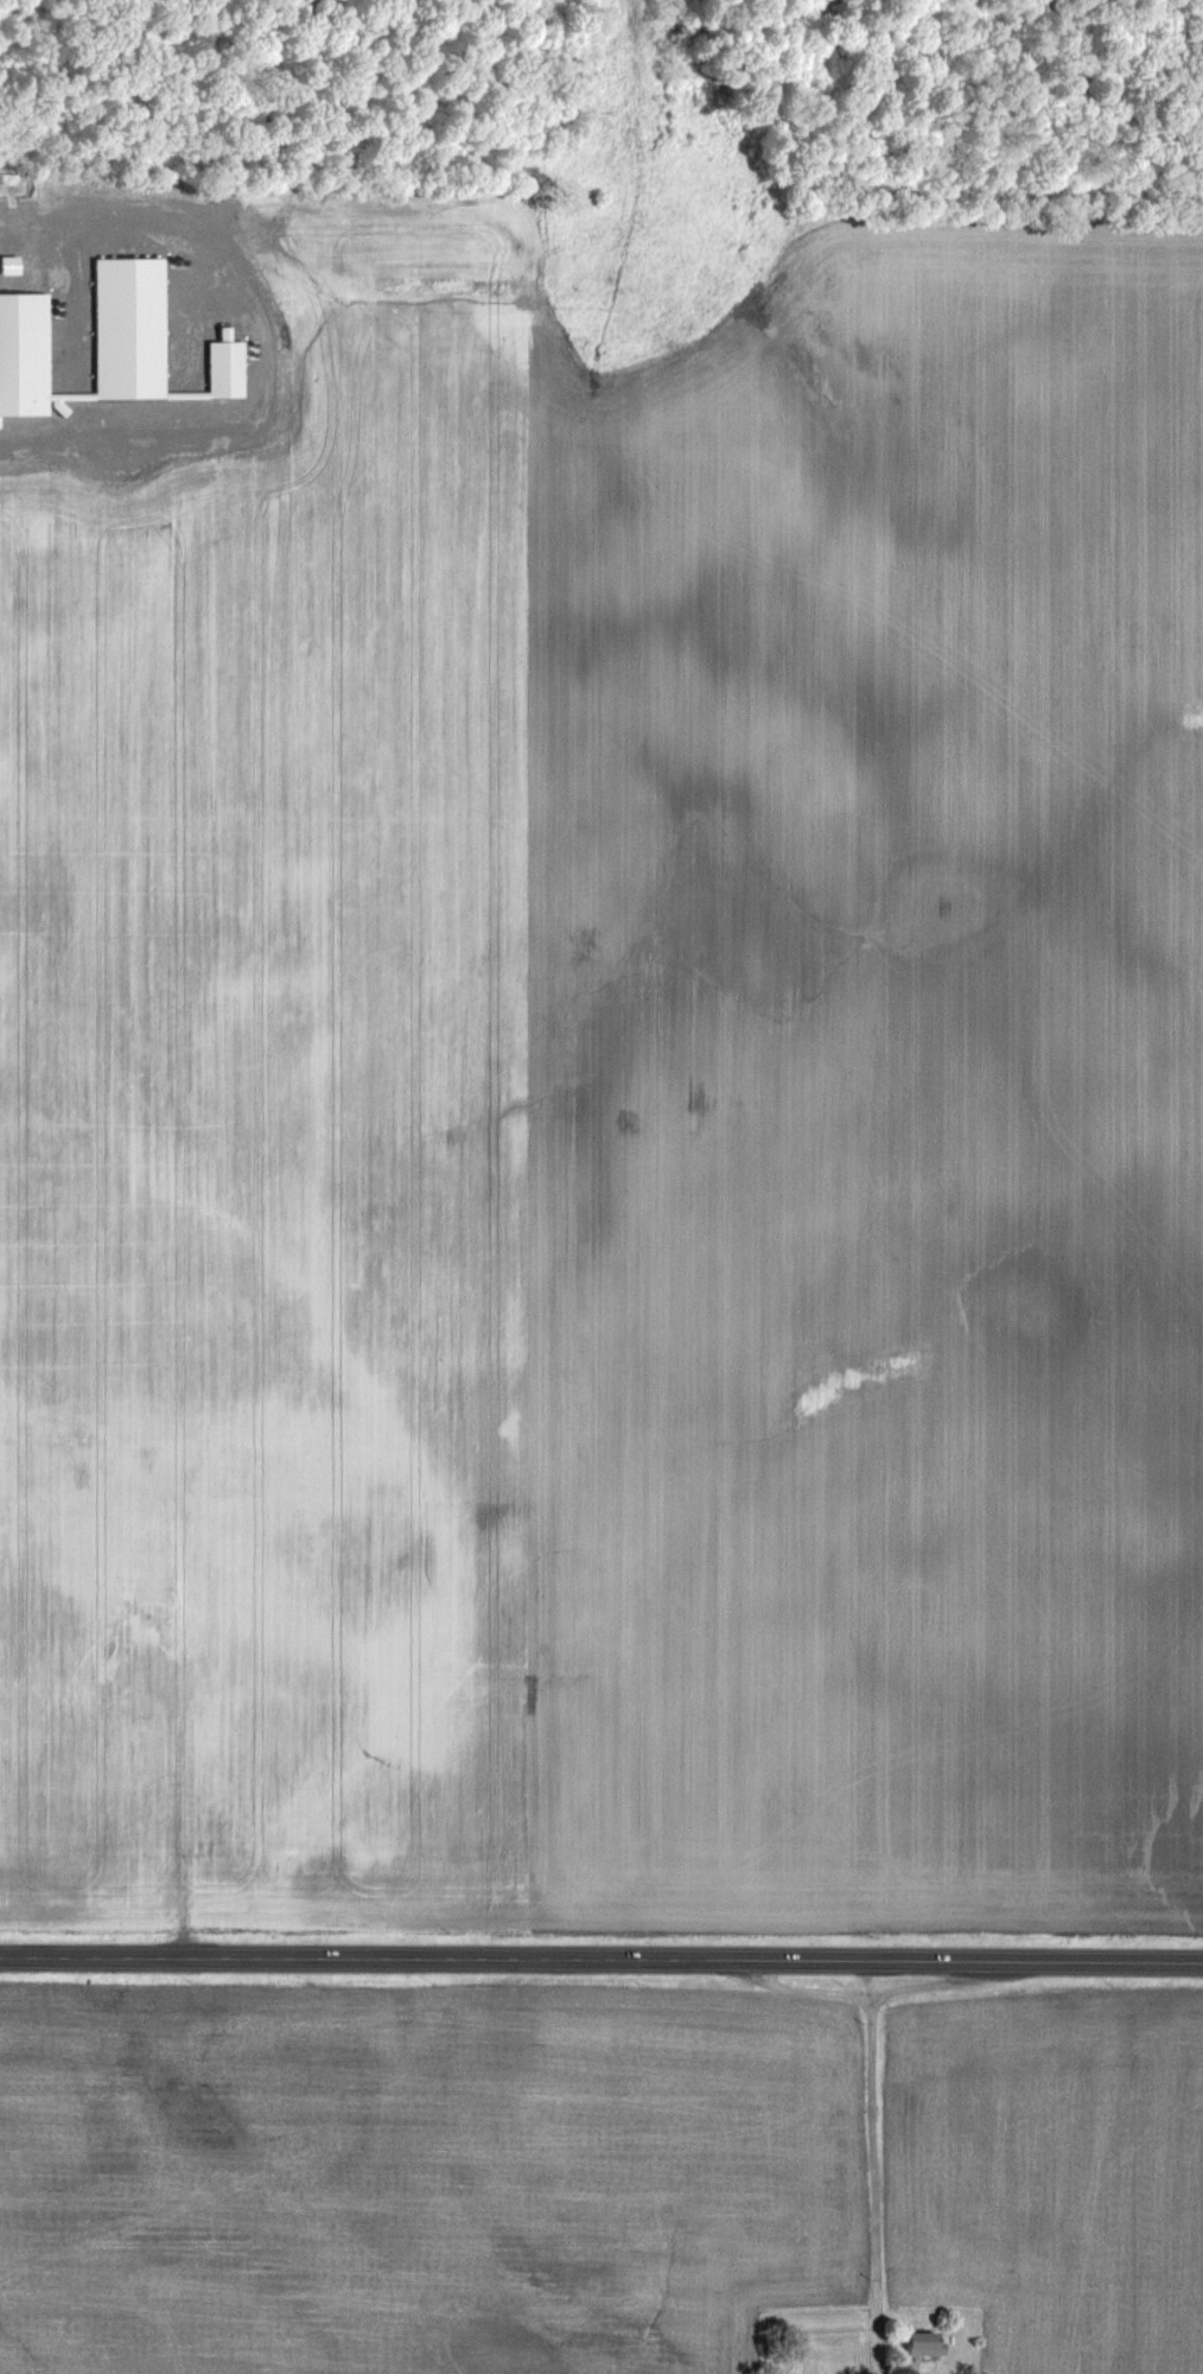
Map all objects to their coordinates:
road: (600, 1959)
road: (871, 2167)
building: (921, 2343)

